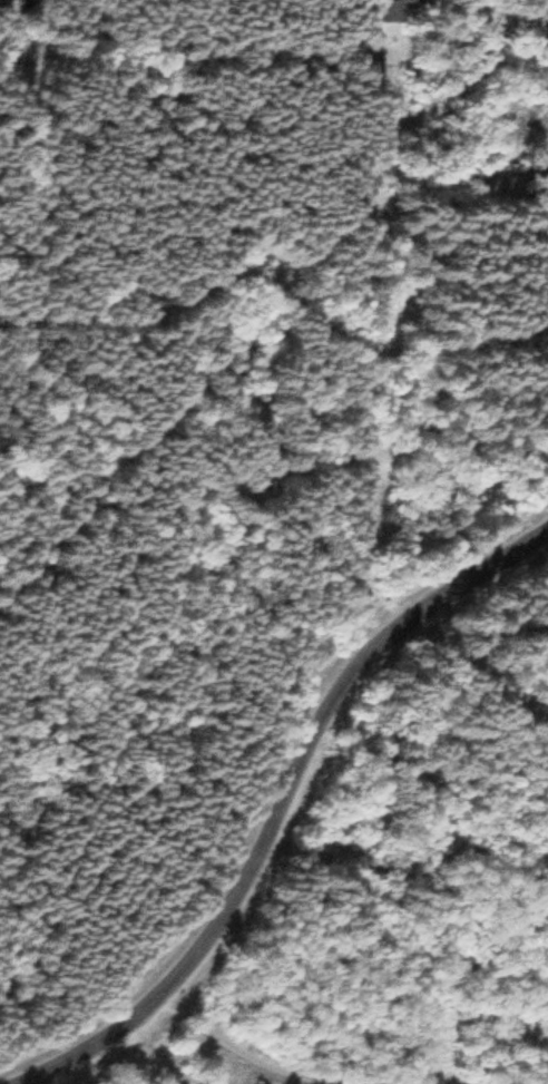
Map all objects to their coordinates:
building: (539, 0)
building: (3, 1)
building: (389, 11)
road: (285, 800)
road: (144, 1065)

